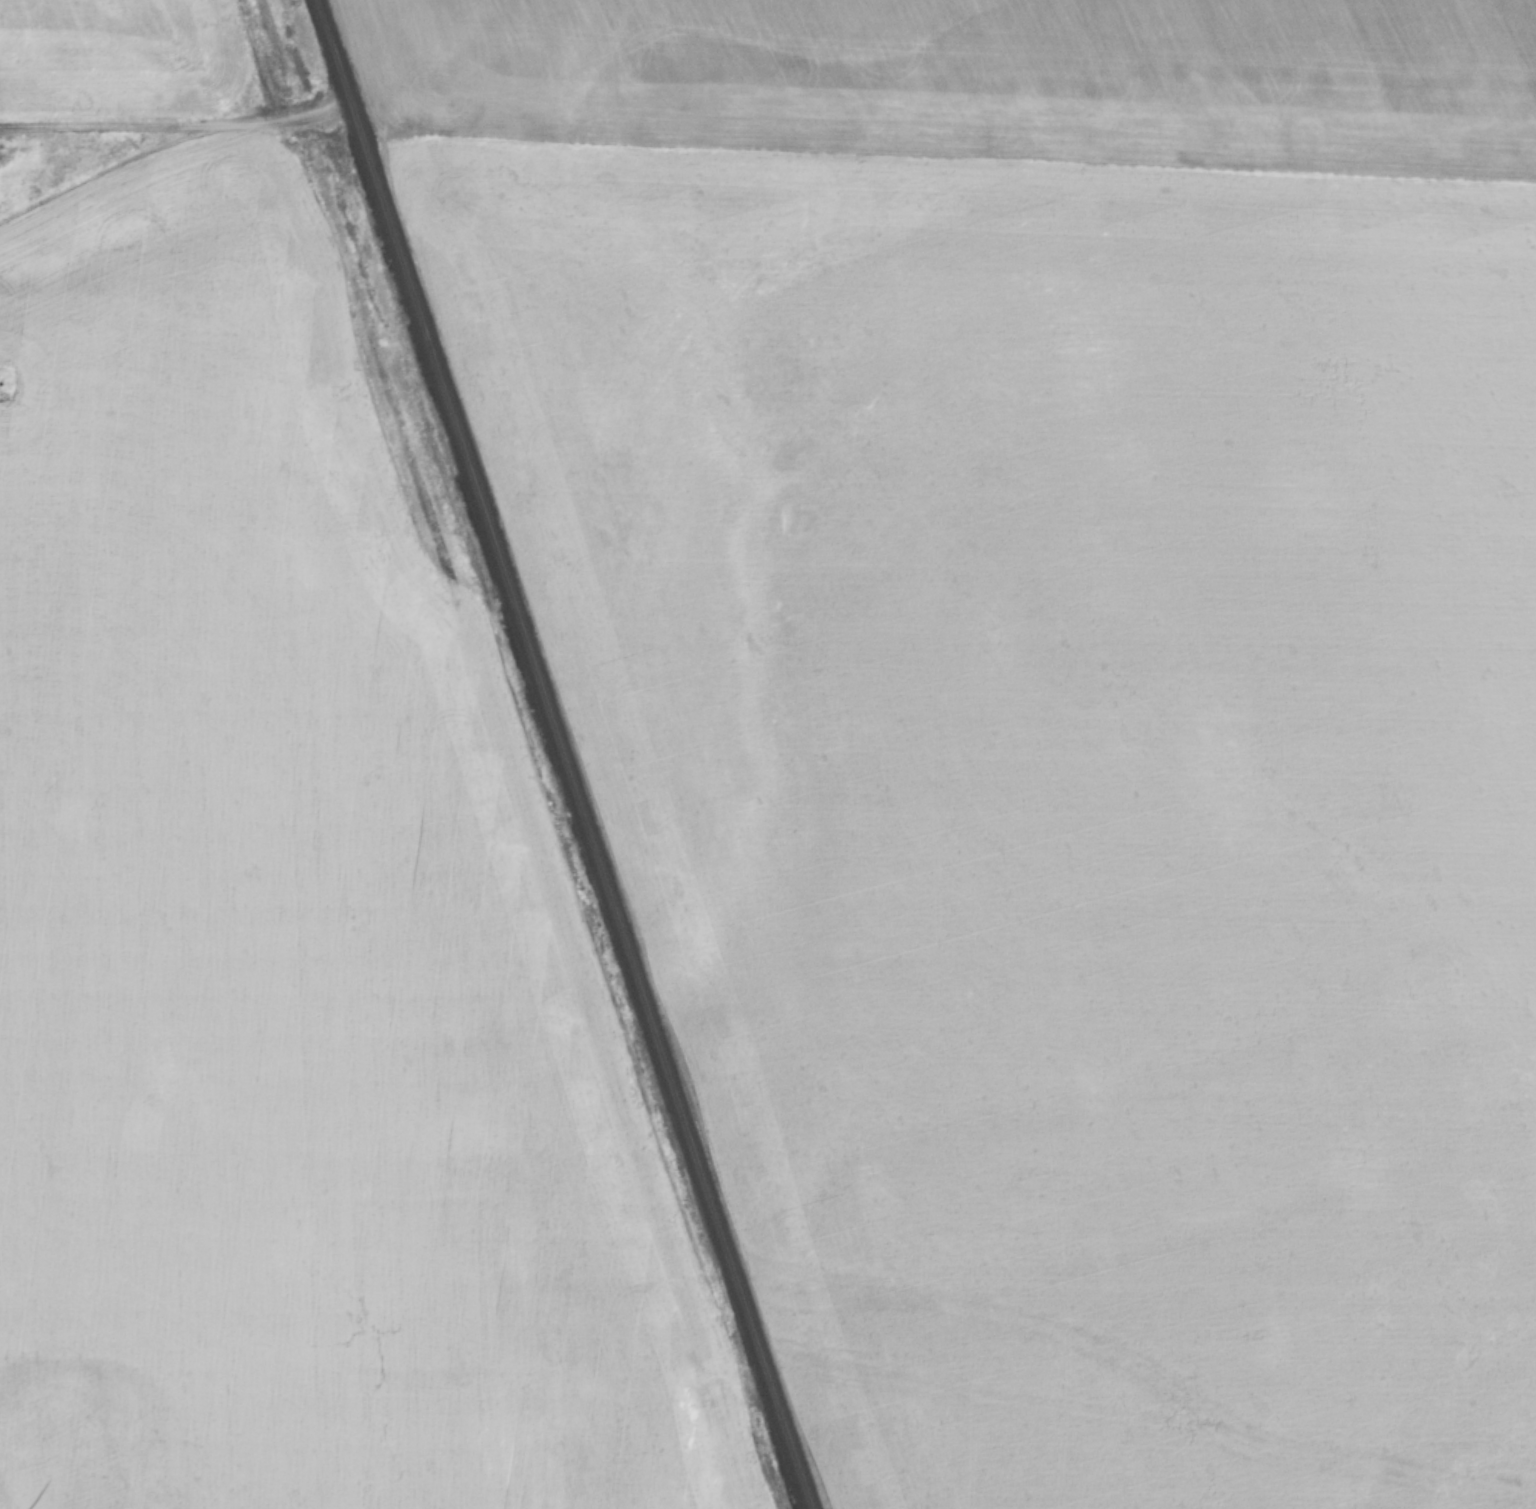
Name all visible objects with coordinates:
road: (174, 124)
road: (554, 756)

